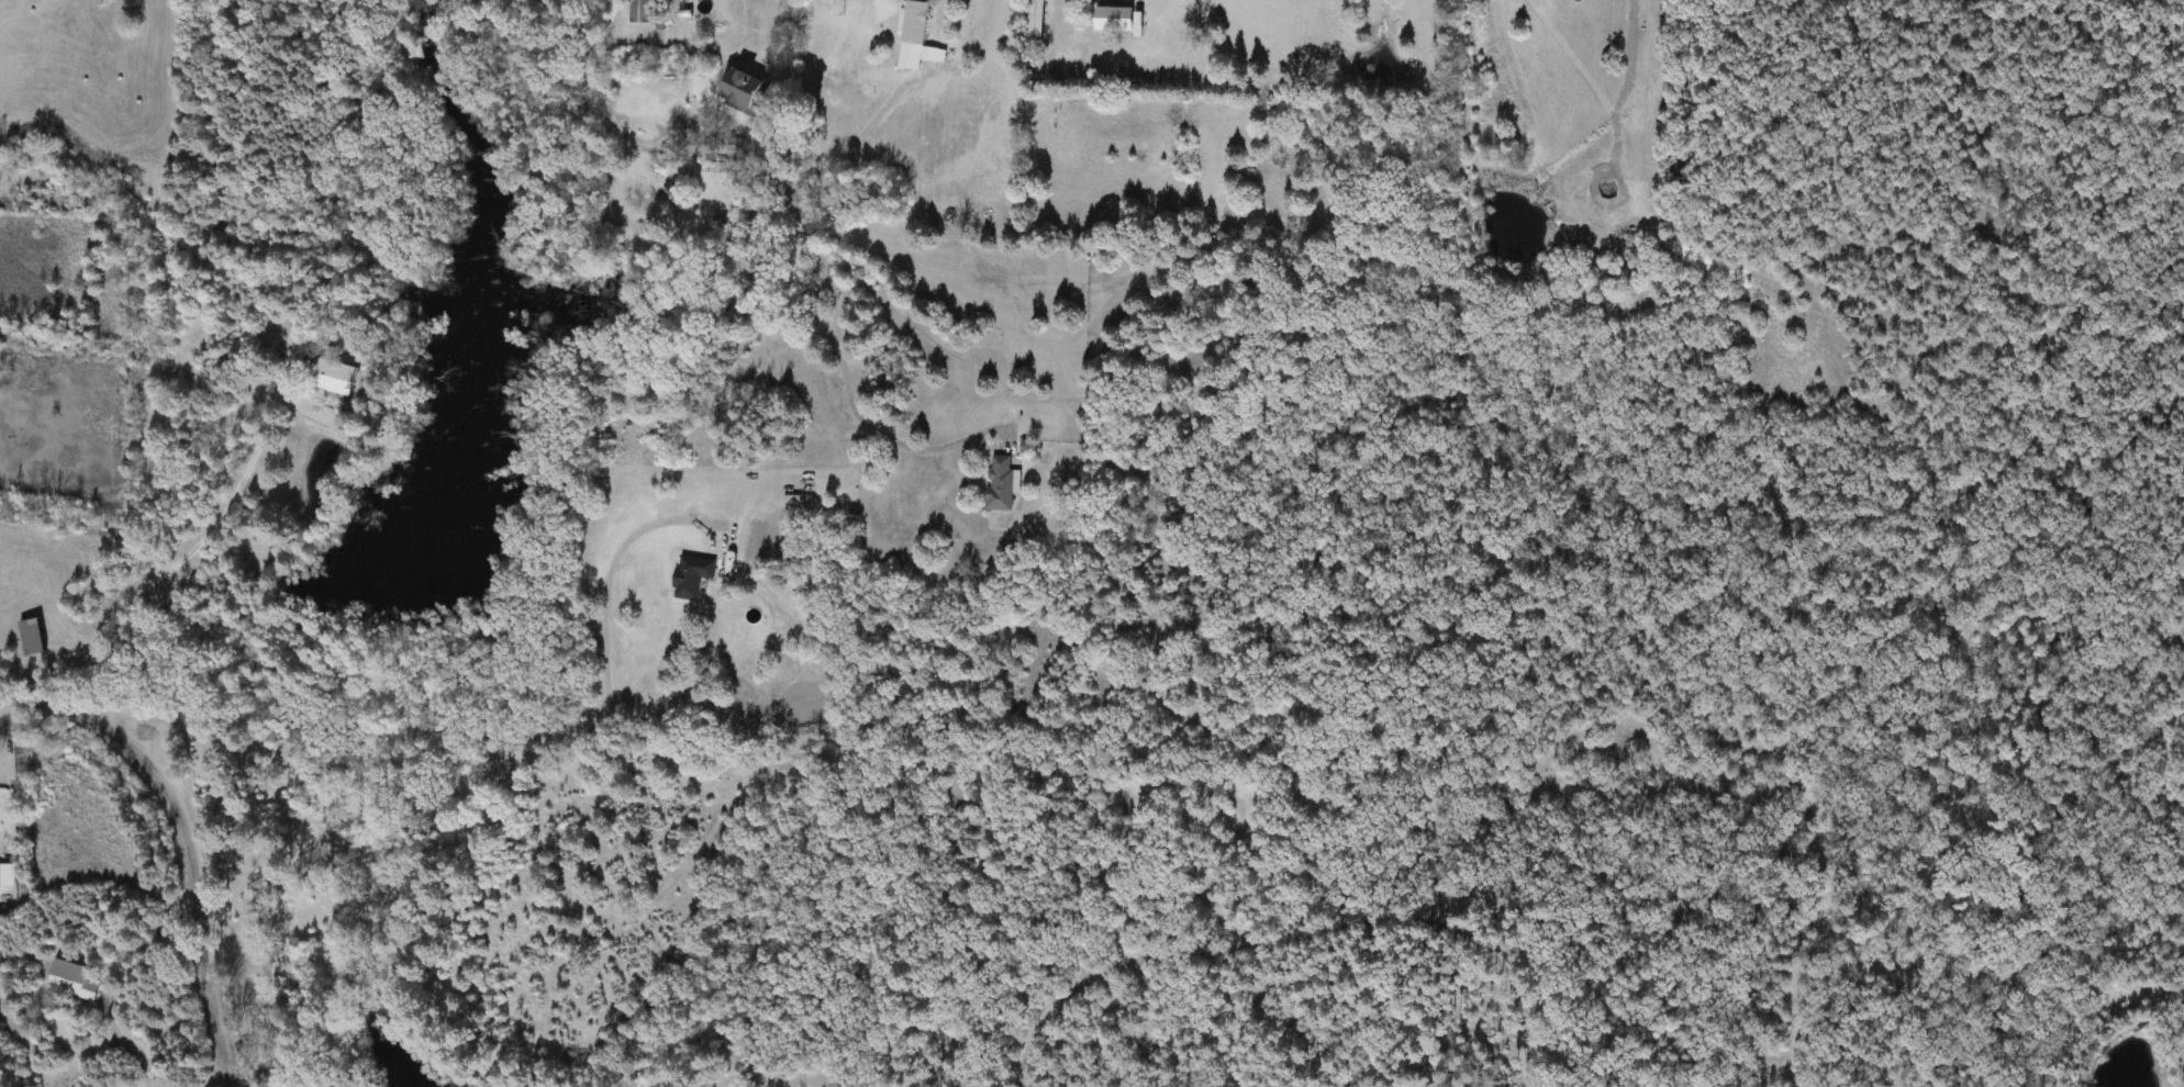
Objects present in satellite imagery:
building: (638, 12)
building: (1035, 19)
building: (1112, 20)
building: (917, 31)
road: (754, 58)
building: (739, 89)
road: (853, 139)
road: (754, 157)
building: (713, 172)
building: (647, 192)
building: (332, 376)
road: (260, 432)
road: (914, 450)
building: (1000, 484)
building: (690, 578)
road: (136, 590)
building: (30, 637)
road: (490, 737)
road: (180, 840)
building: (7, 875)
building: (71, 979)
road: (241, 996)

